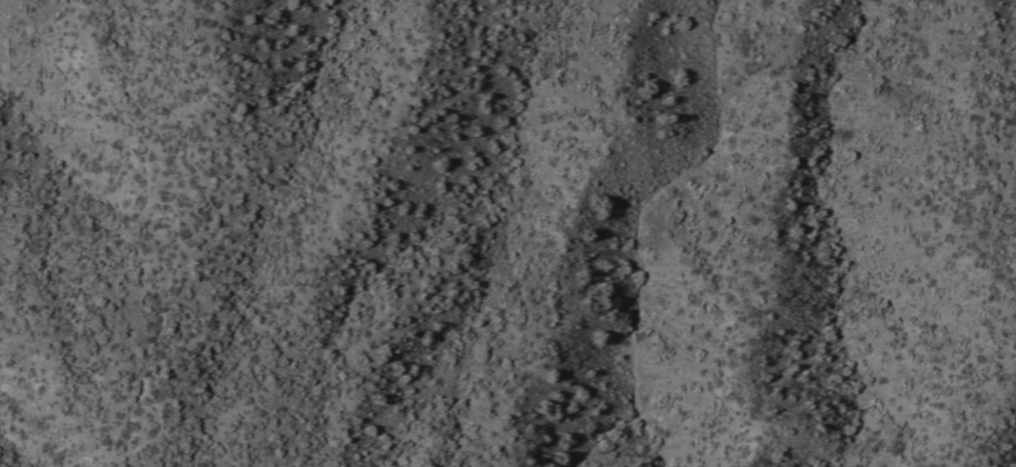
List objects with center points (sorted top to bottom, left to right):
road: (831, 110)

